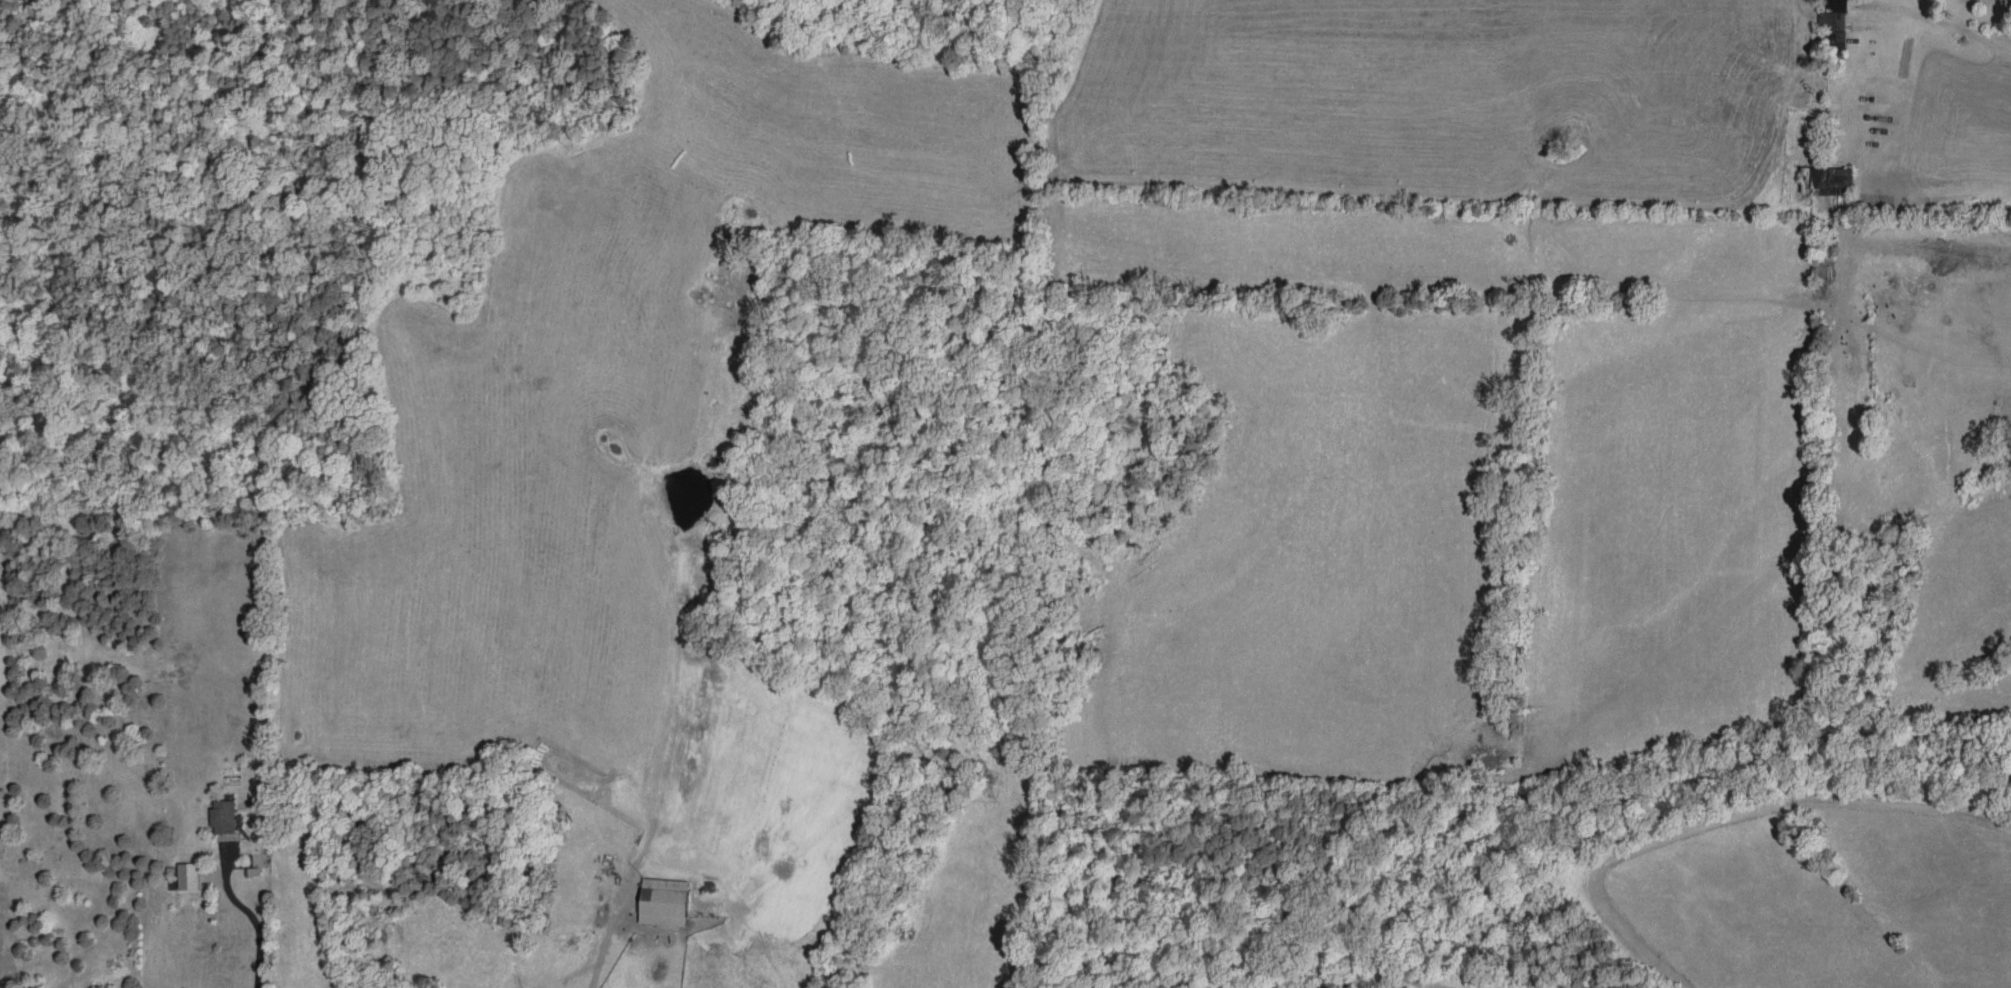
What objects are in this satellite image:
road: (1943, 27)
building: (222, 816)
building: (187, 876)
building: (663, 901)
road: (250, 917)
road: (608, 945)

